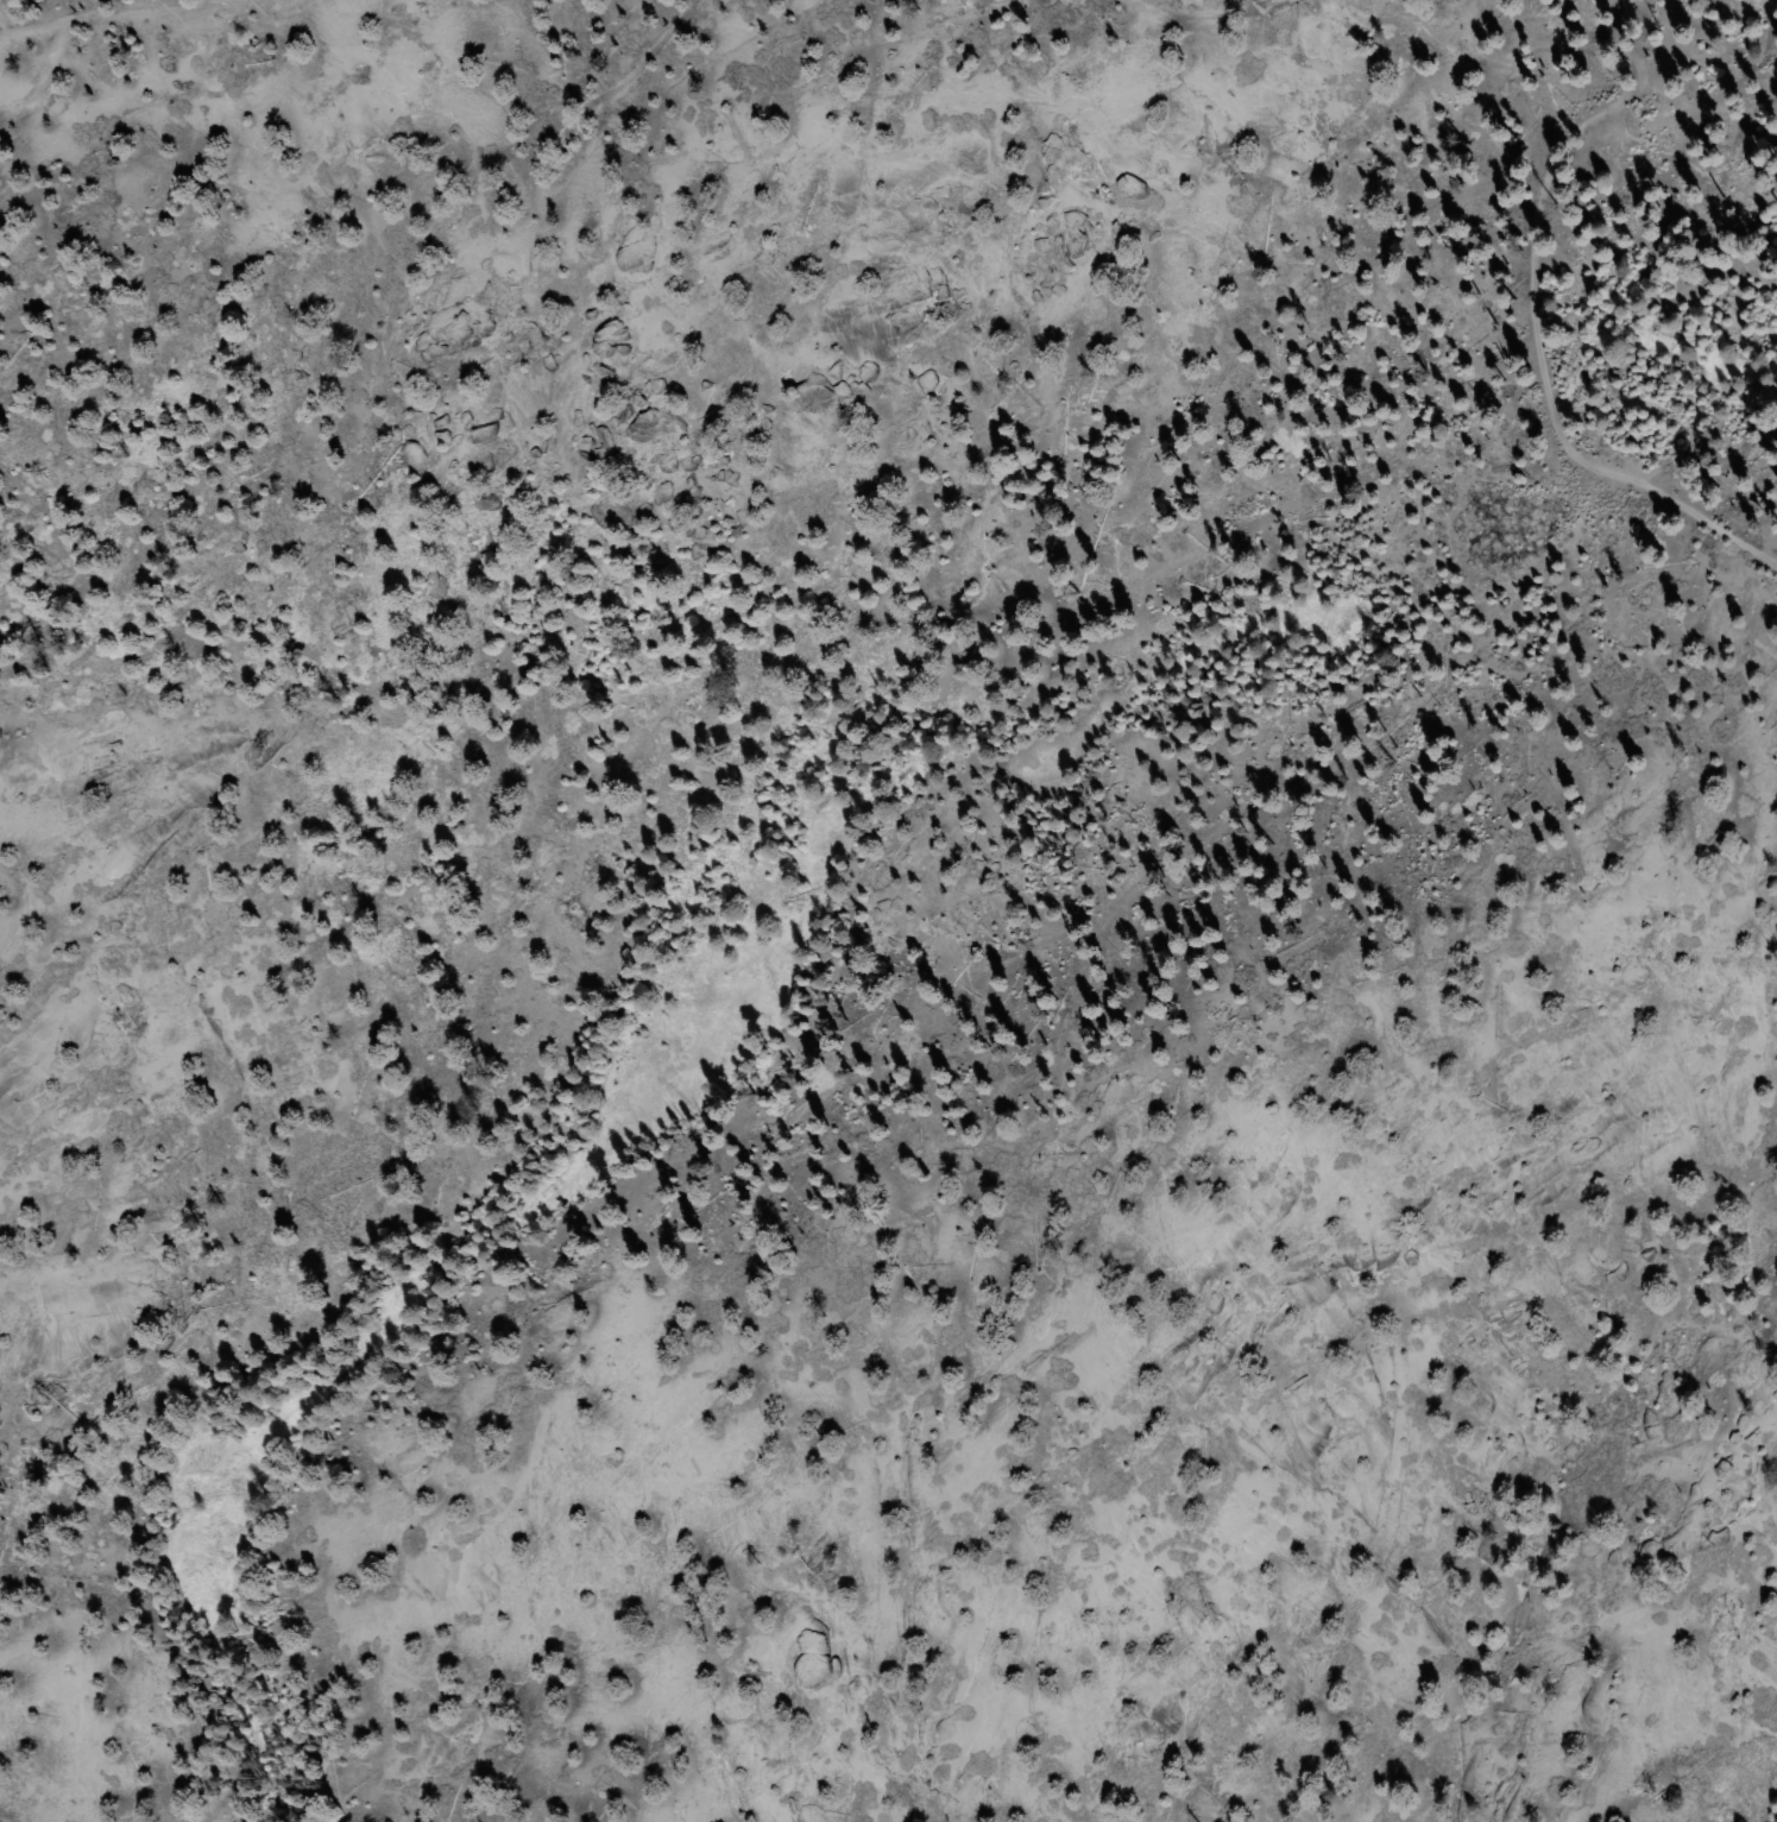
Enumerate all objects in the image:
road: (1531, 333)

